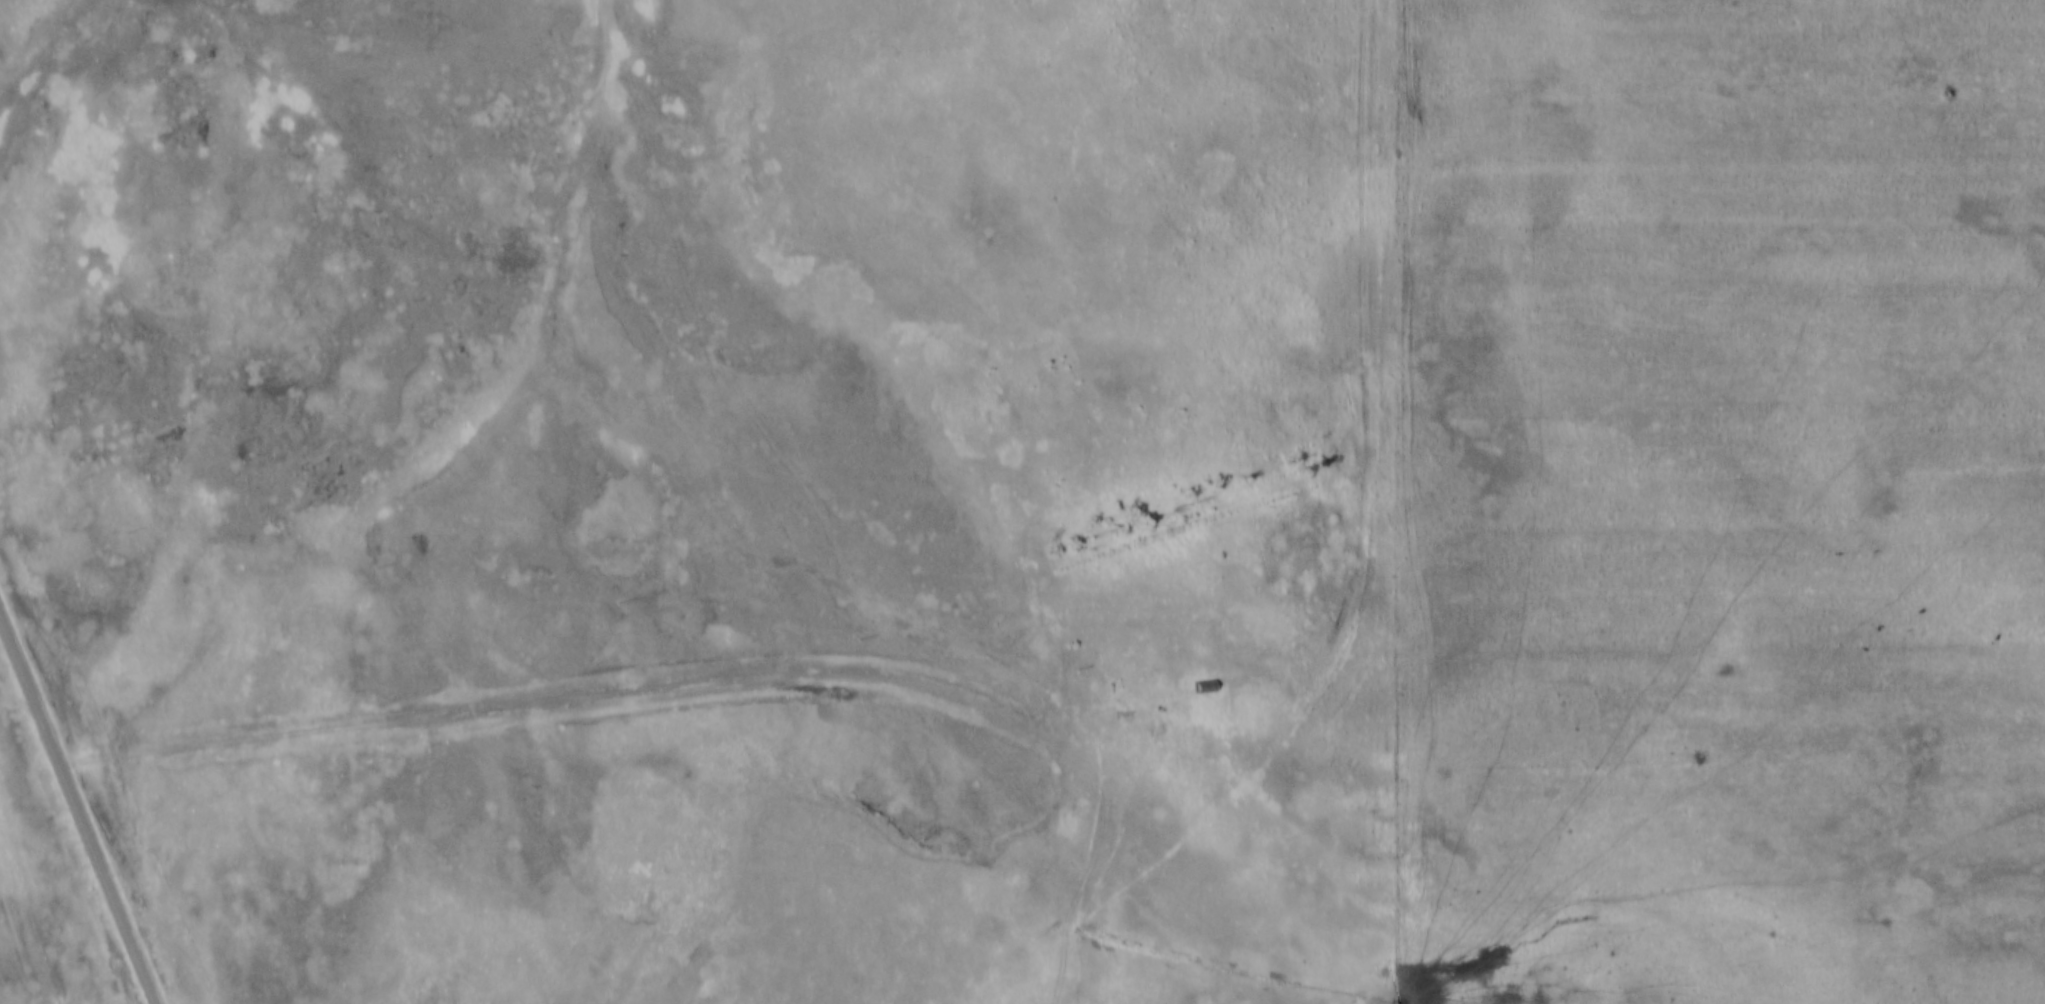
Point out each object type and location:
building: (1198, 687)
building: (1208, 691)
road: (1242, 787)
road: (80, 805)

